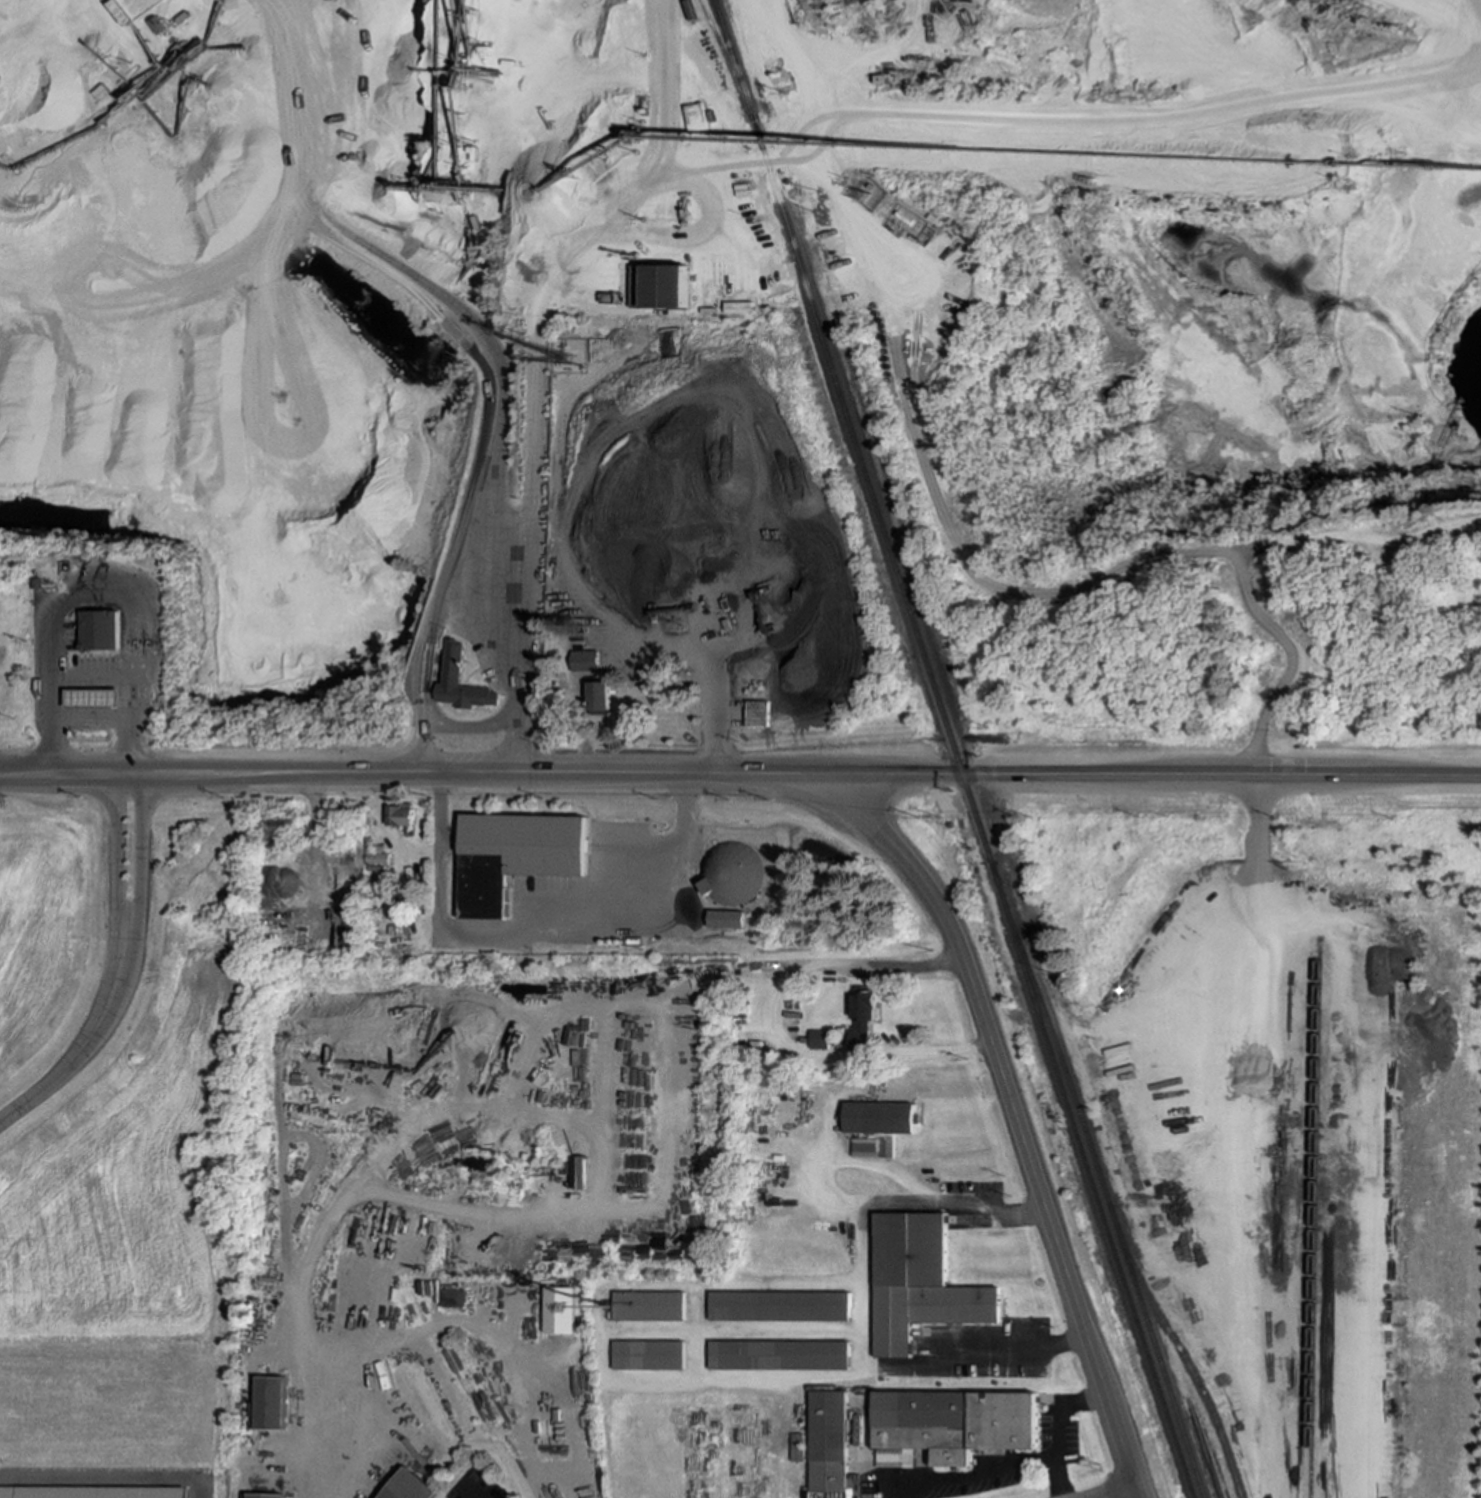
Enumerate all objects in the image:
railway: (726, 55)
building: (660, 287)
railway: (853, 432)
quarry: (1175, 436)
road: (469, 567)
road: (1077, 590)
building: (101, 630)
road: (56, 642)
building: (585, 661)
building: (453, 662)
building: (94, 698)
building: (600, 698)
building: (759, 713)
road: (713, 714)
road: (91, 720)
road: (52, 725)
road: (464, 726)
road: (510, 730)
road: (419, 731)
road: (415, 773)
road: (1156, 776)
building: (400, 815)
road: (387, 832)
building: (516, 856)
building: (379, 859)
road: (117, 861)
road: (144, 862)
building: (733, 874)
building: (727, 919)
road: (535, 931)
building: (862, 1019)
road: (775, 1027)
building: (821, 1040)
road: (83, 1053)
building: (879, 1118)
road: (1017, 1119)
building: (865, 1147)
railway: (1102, 1179)
railway: (1092, 1181)
railway: (1313, 1221)
building: (920, 1283)
building: (453, 1298)
building: (648, 1306)
building: (780, 1306)
road: (865, 1306)
building: (560, 1310)
railway: (1181, 1351)
building: (648, 1355)
building: (779, 1355)
building: (272, 1403)
road: (1060, 1419)
building: (951, 1425)
building: (796, 1447)
road: (307, 1463)
road: (974, 1472)
road: (1054, 1473)
building: (853, 1486)
building: (410, 1487)
road: (909, 1490)
road: (472, 1492)
road: (1121, 1494)

